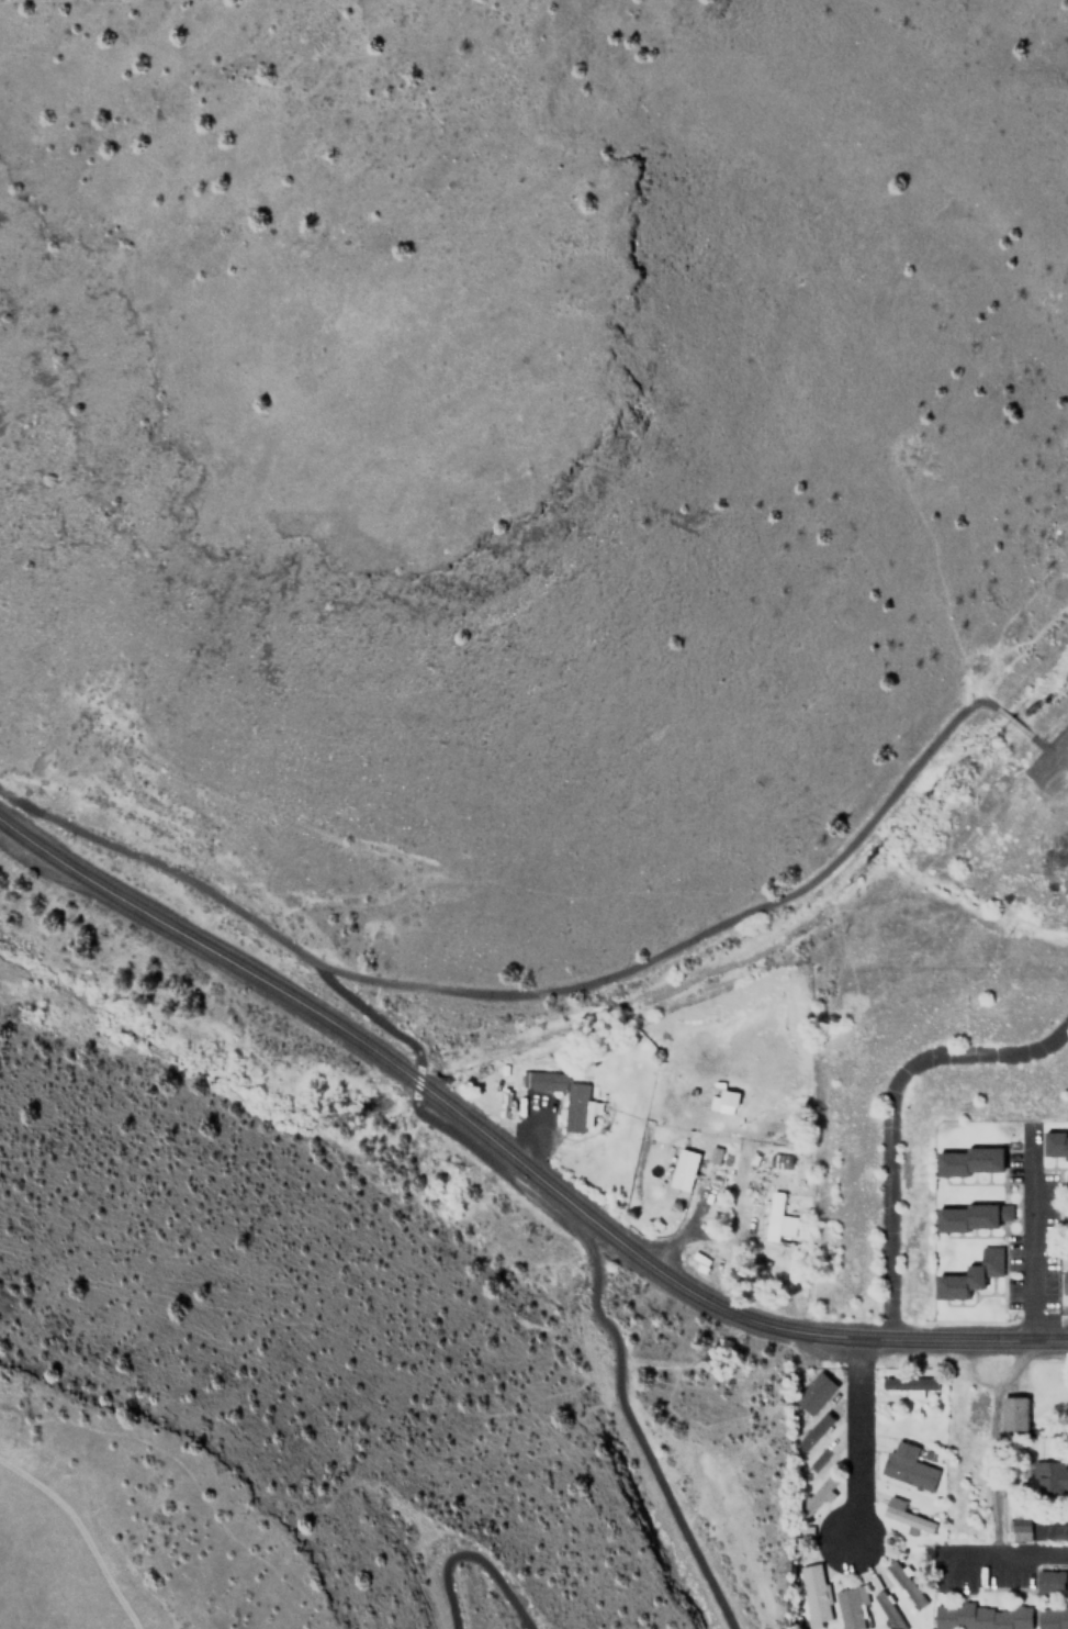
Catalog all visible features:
road: (1009, 723)
road: (1045, 743)
road: (526, 995)
road: (412, 1081)
building: (718, 1104)
building: (574, 1112)
building: (1055, 1145)
building: (715, 1154)
building: (782, 1161)
building: (968, 1161)
building: (683, 1170)
building: (773, 1216)
building: (966, 1218)
road: (1027, 1235)
road: (585, 1243)
building: (969, 1275)
building: (1065, 1283)
road: (945, 1339)
building: (909, 1384)
building: (812, 1394)
building: (1012, 1414)
building: (813, 1431)
road: (854, 1439)
building: (816, 1459)
building: (907, 1466)
building: (1050, 1479)
building: (816, 1496)
building: (904, 1515)
building: (1022, 1526)
road: (469, 1552)
road: (1019, 1559)
building: (1049, 1581)
building: (904, 1584)
building: (812, 1595)
building: (848, 1608)
building: (887, 1609)
building: (979, 1616)
building: (1052, 1618)

